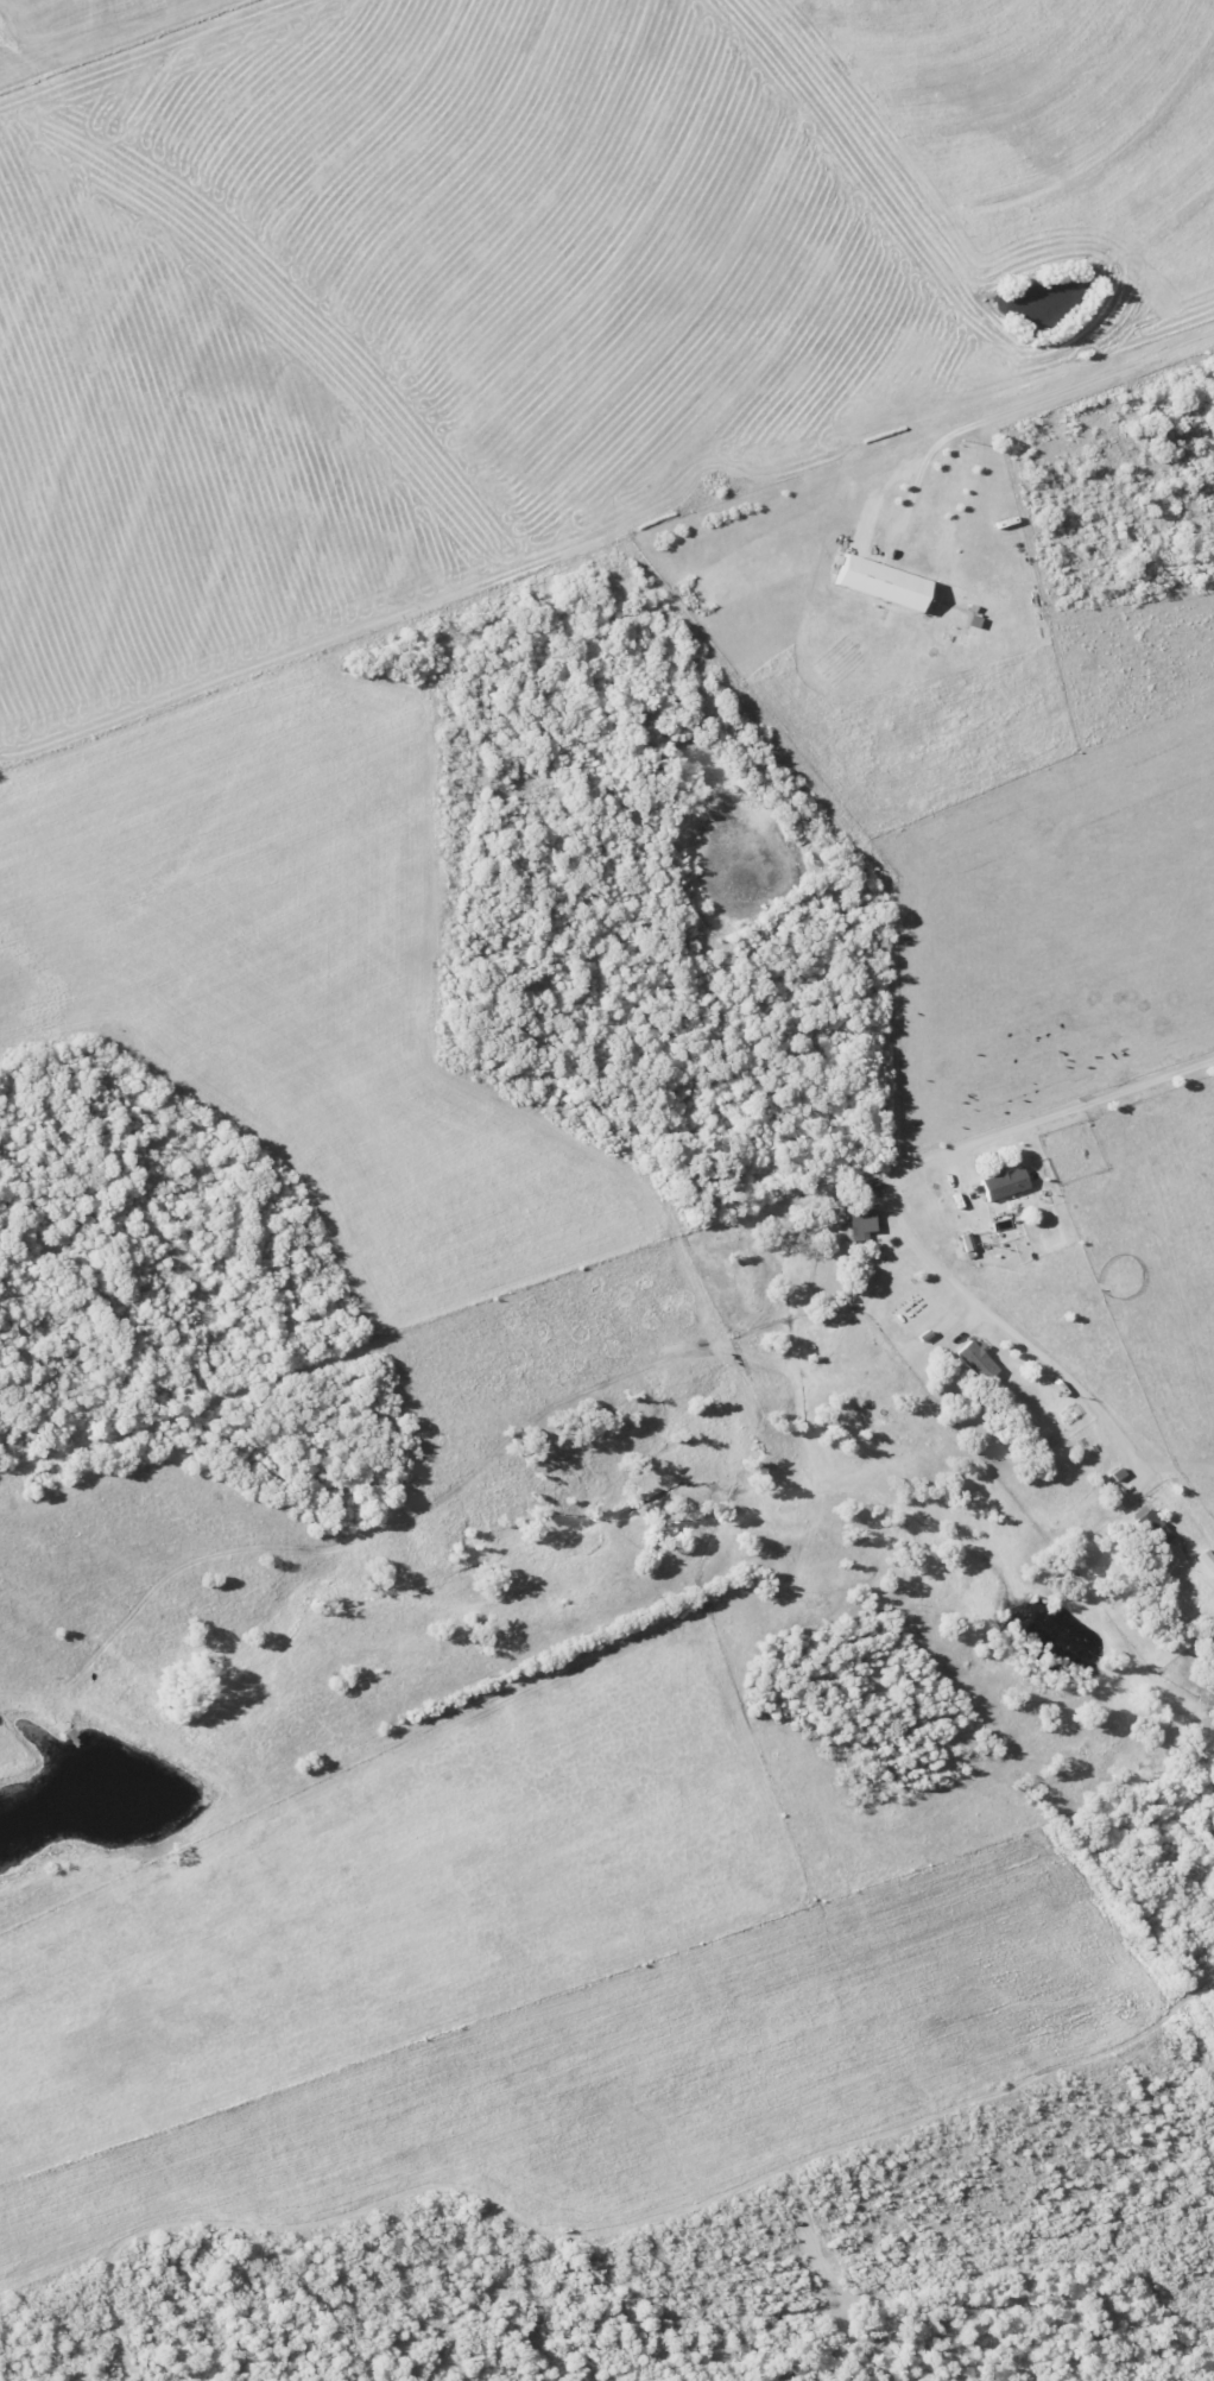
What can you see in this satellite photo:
road: (1029, 416)
building: (880, 582)
building: (1004, 1182)
road: (894, 1210)
building: (859, 1223)
building: (976, 1358)
building: (1207, 1561)

